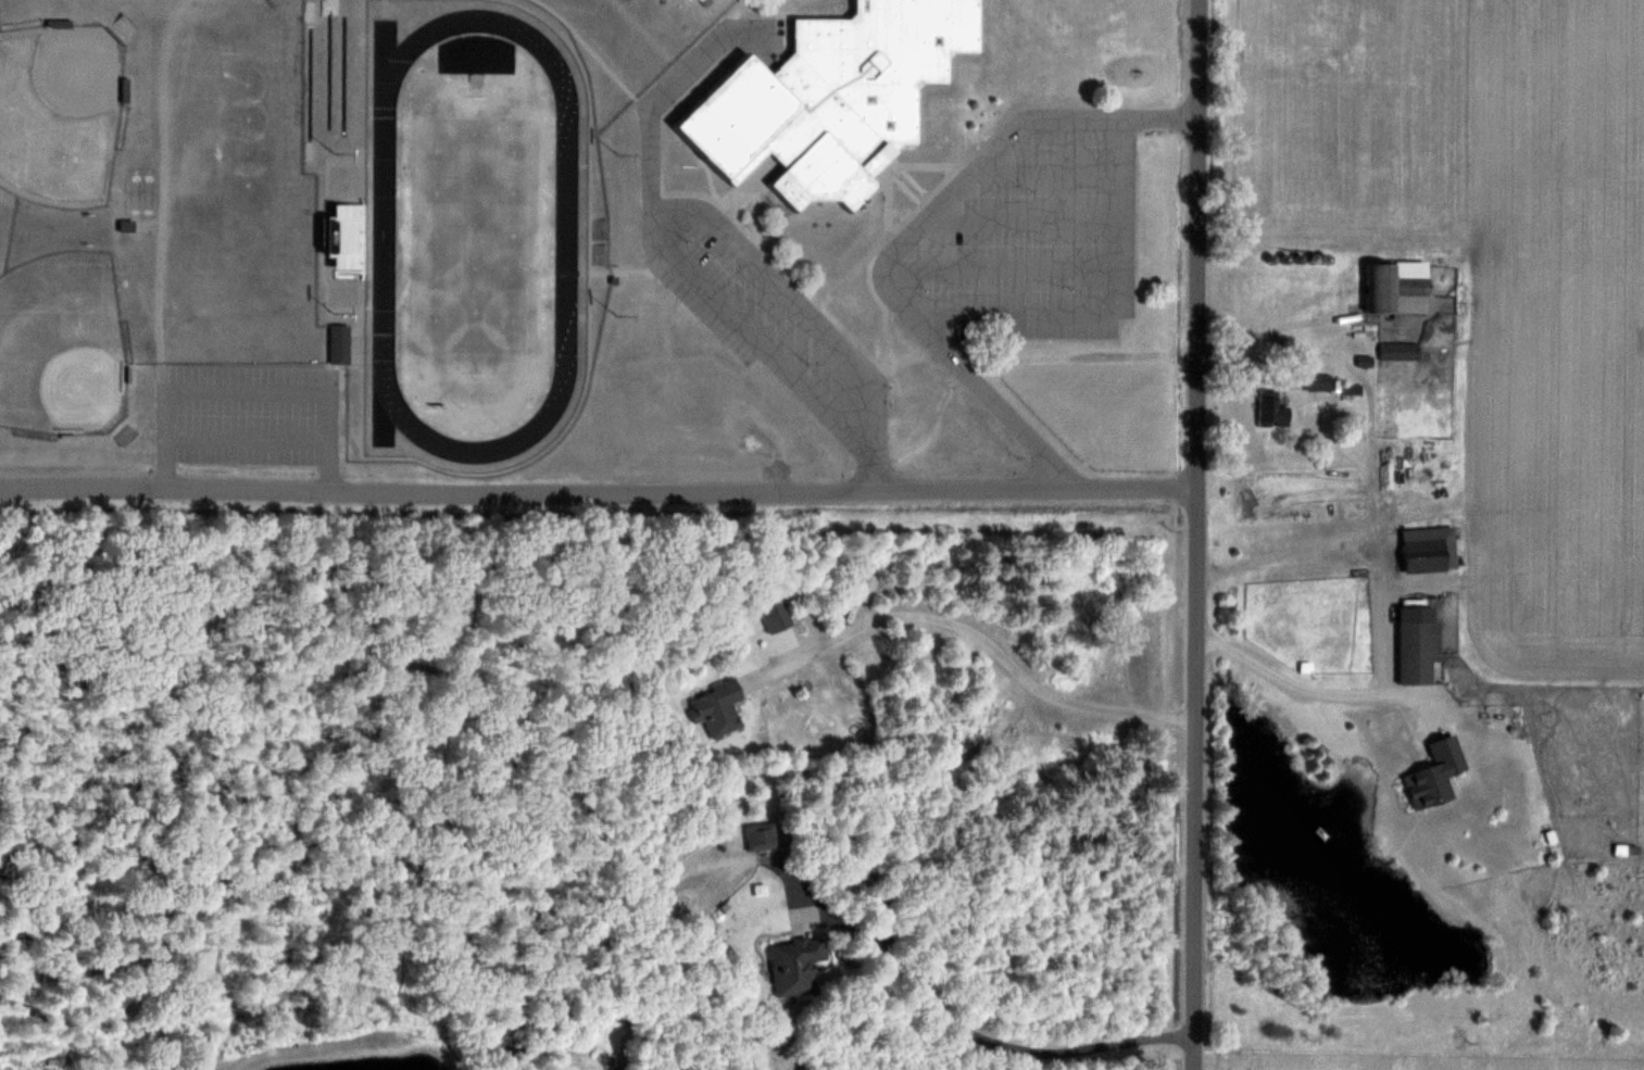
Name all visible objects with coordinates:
building: (125, 26)
building: (829, 104)
building: (348, 239)
road: (891, 285)
building: (1396, 292)
road: (746, 332)
building: (339, 344)
building: (1401, 352)
building: (1319, 382)
building: (1273, 410)
building: (126, 436)
road: (442, 488)
road: (1197, 534)
building: (1430, 550)
road: (1284, 559)
building: (776, 615)
building: (1269, 625)
road: (983, 640)
building: (1420, 652)
building: (718, 708)
building: (1482, 740)
building: (1436, 776)
building: (762, 834)
building: (796, 967)
road: (981, 1032)

